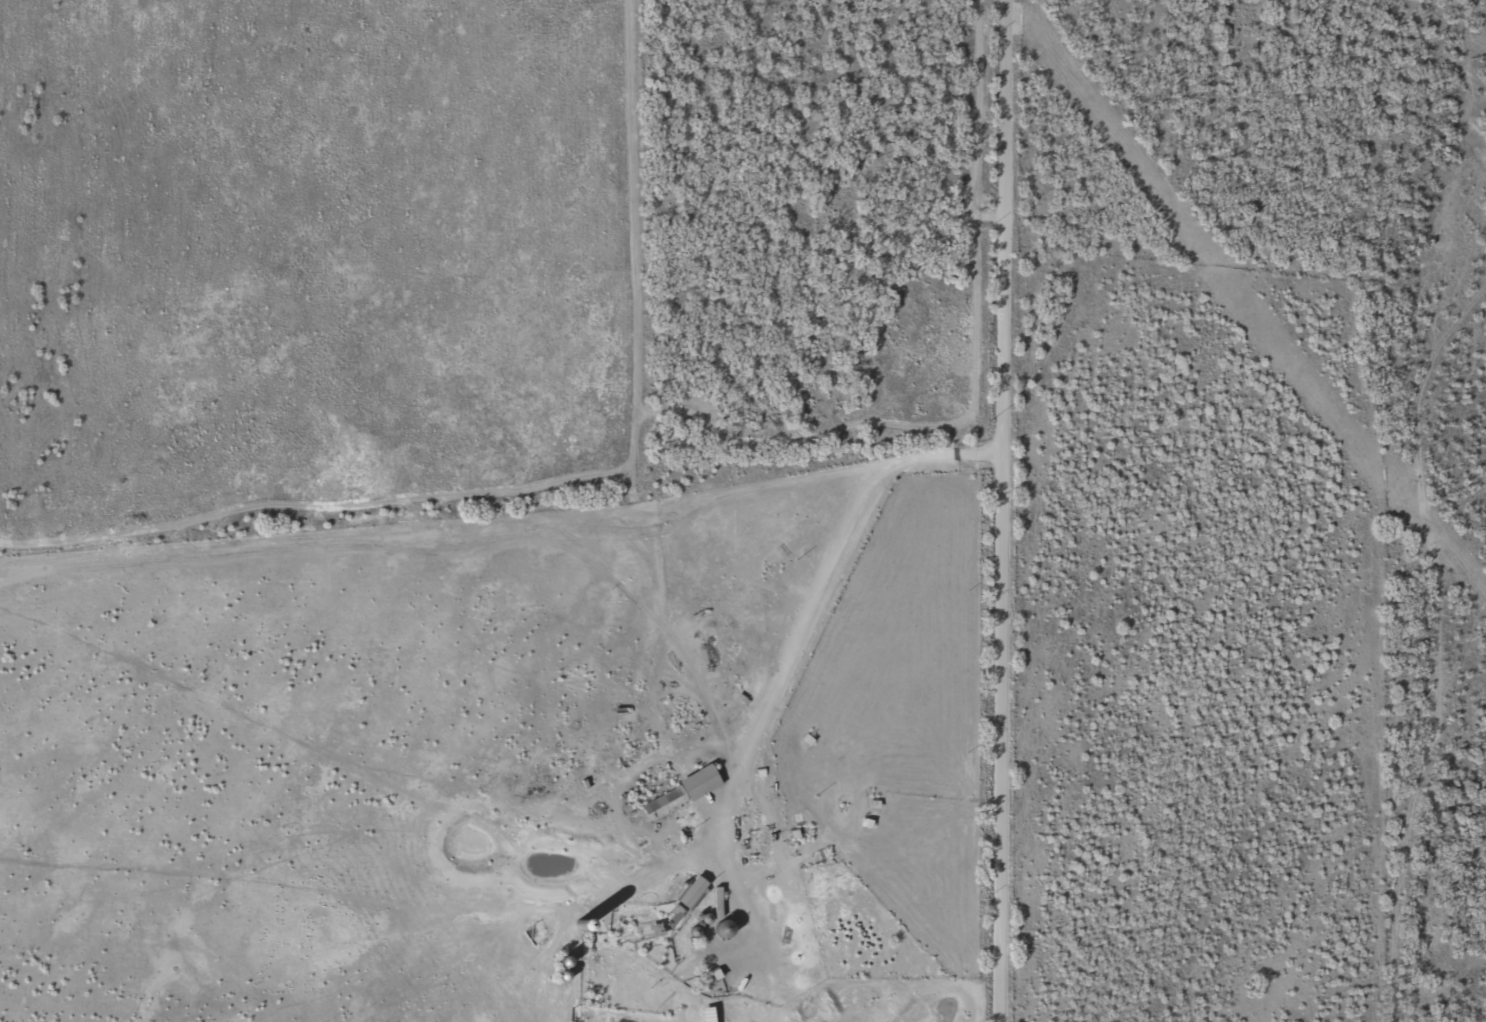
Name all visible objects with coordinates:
road: (1004, 200)
road: (501, 499)
road: (1446, 502)
building: (783, 588)
building: (748, 682)
road: (1473, 711)
building: (733, 714)
building: (676, 793)
road: (1440, 865)
building: (688, 891)
building: (718, 928)

